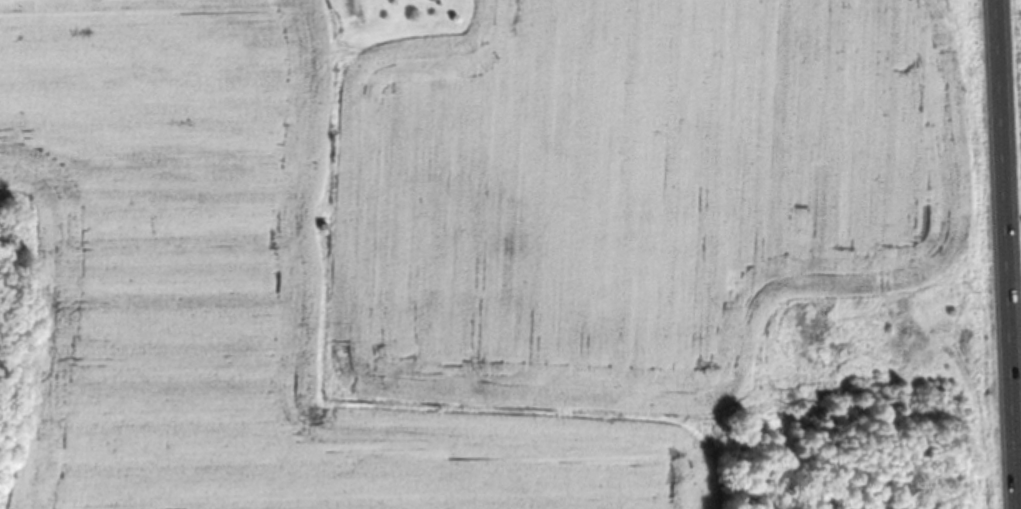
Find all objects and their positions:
road: (1007, 254)

